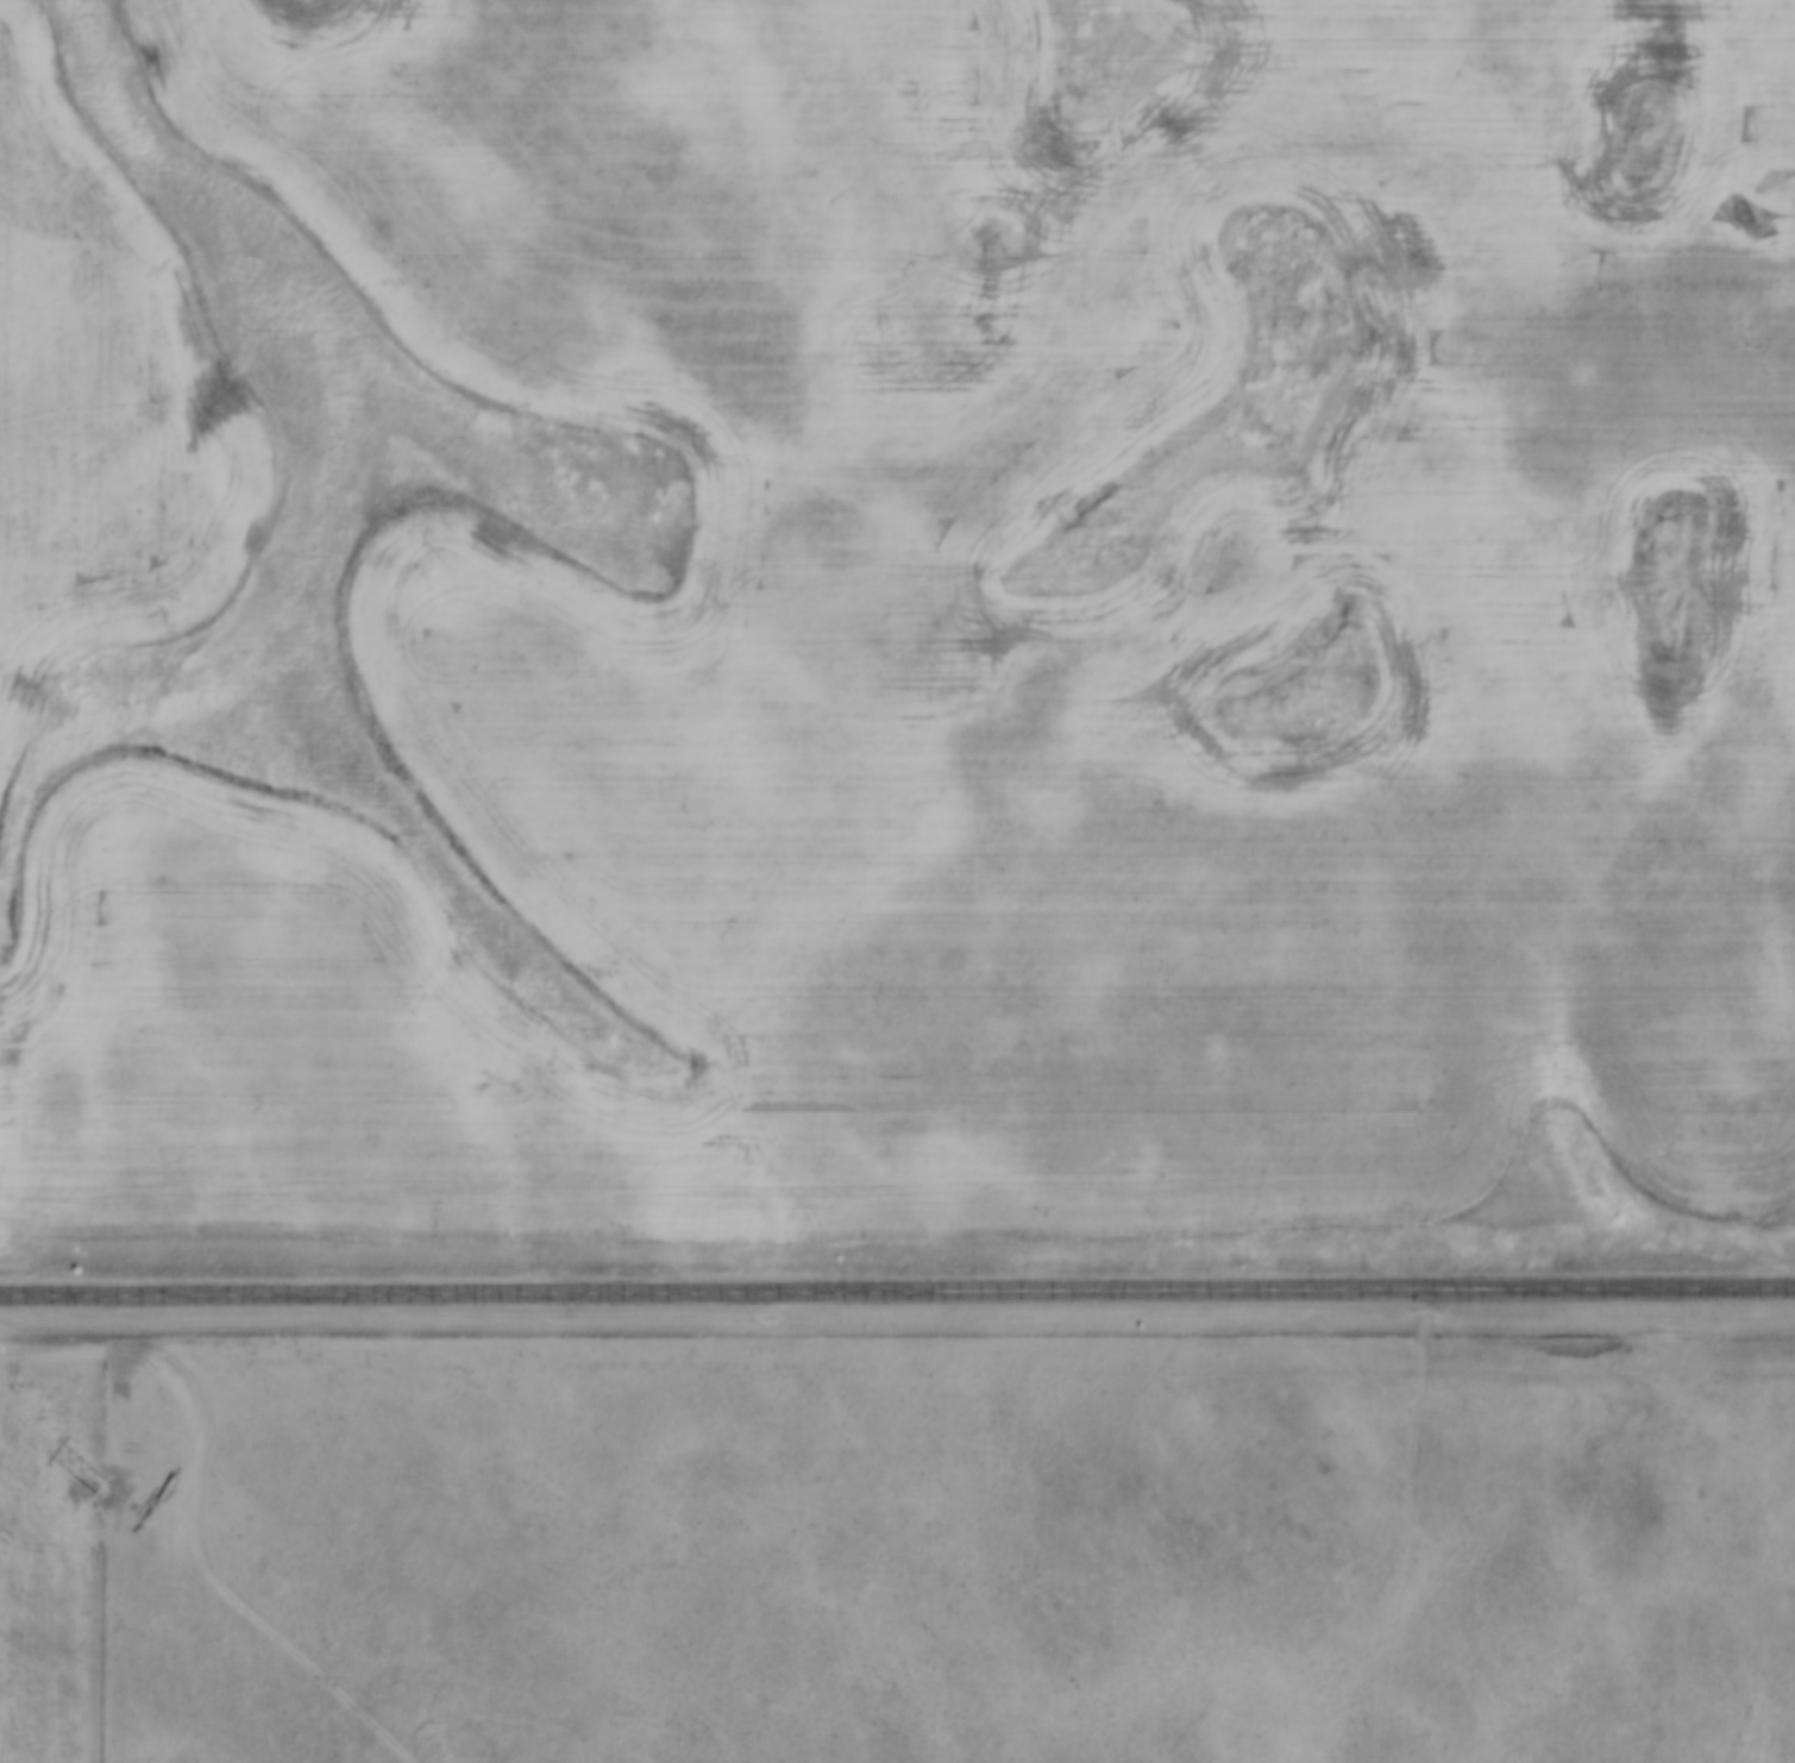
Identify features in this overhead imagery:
road: (897, 1295)
power tower: (114, 1489)

